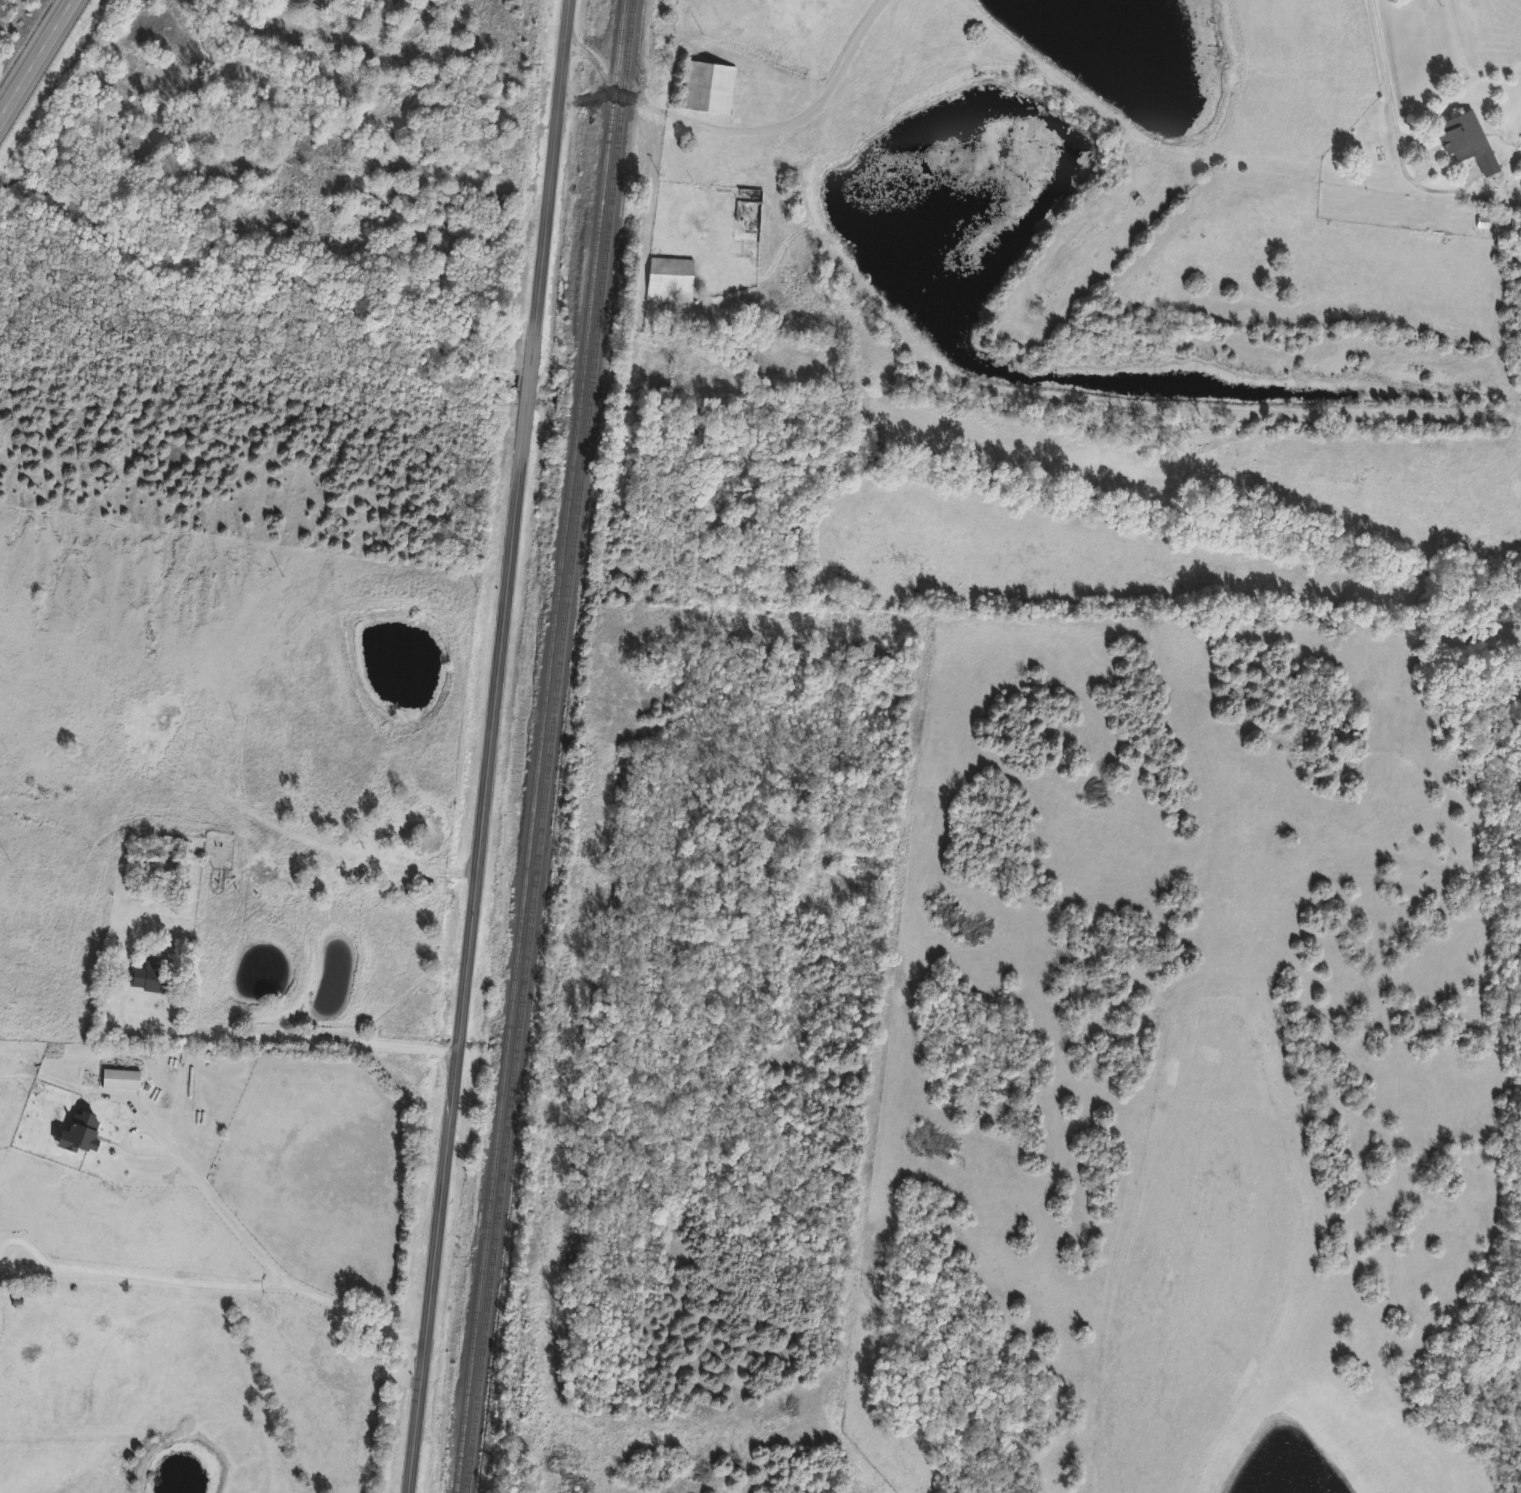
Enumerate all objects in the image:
road: (37, 60)
road: (594, 62)
building: (707, 88)
road: (1393, 114)
road: (751, 130)
building: (1467, 142)
building: (670, 281)
road: (491, 746)
railway: (540, 746)
railway: (548, 746)
building: (427, 893)
building: (149, 978)
road: (271, 1037)
building: (120, 1081)
building: (80, 1135)
road: (259, 1264)
road: (138, 1278)

